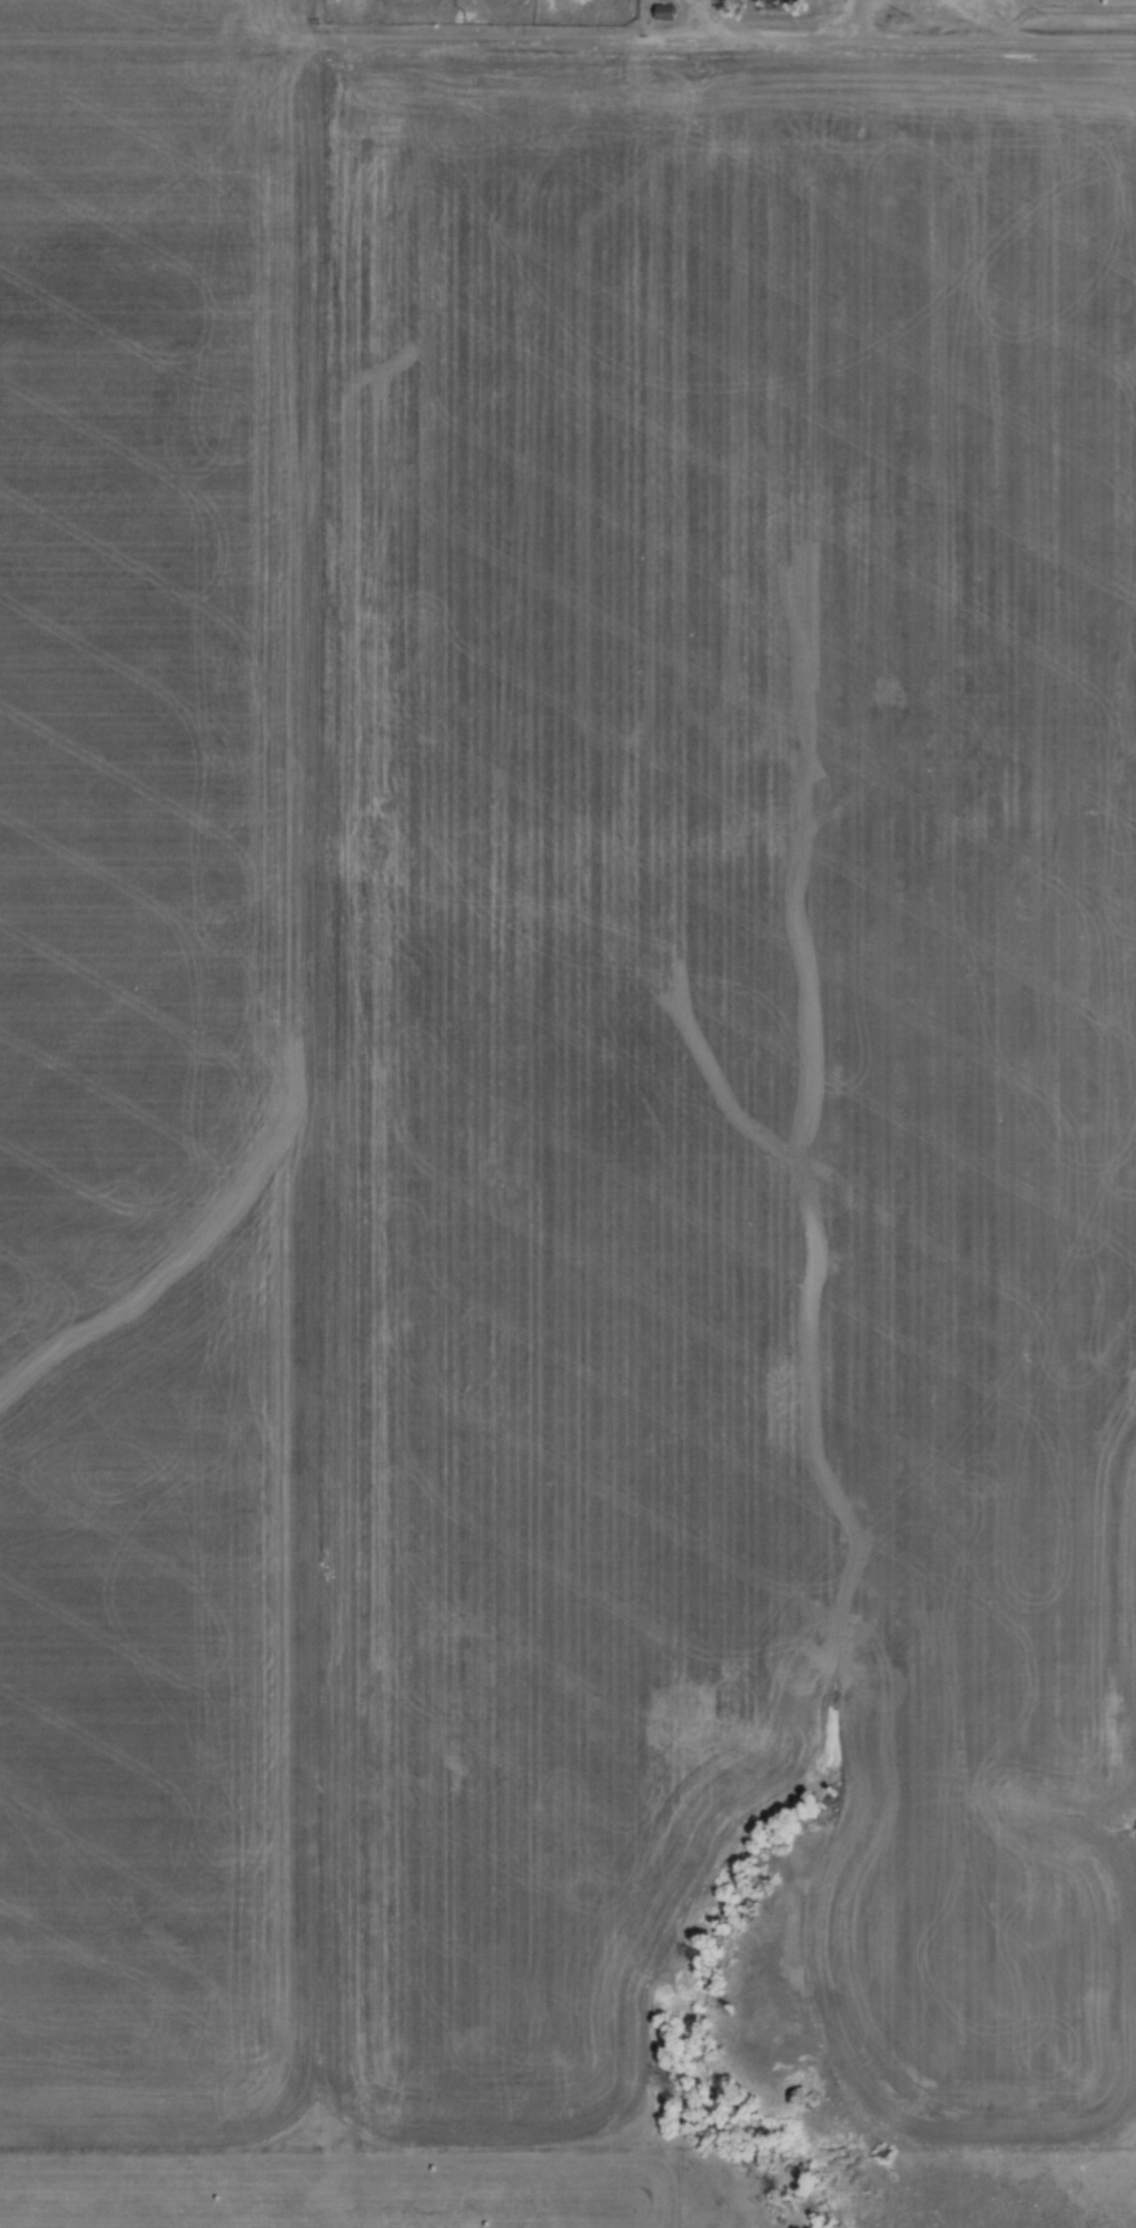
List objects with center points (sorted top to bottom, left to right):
building: (663, 12)
road: (567, 98)

